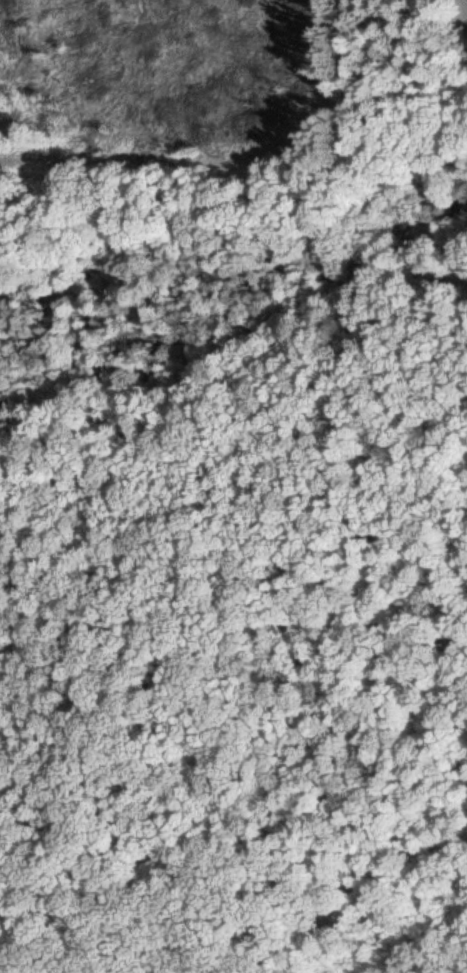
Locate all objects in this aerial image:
road: (233, 198)

